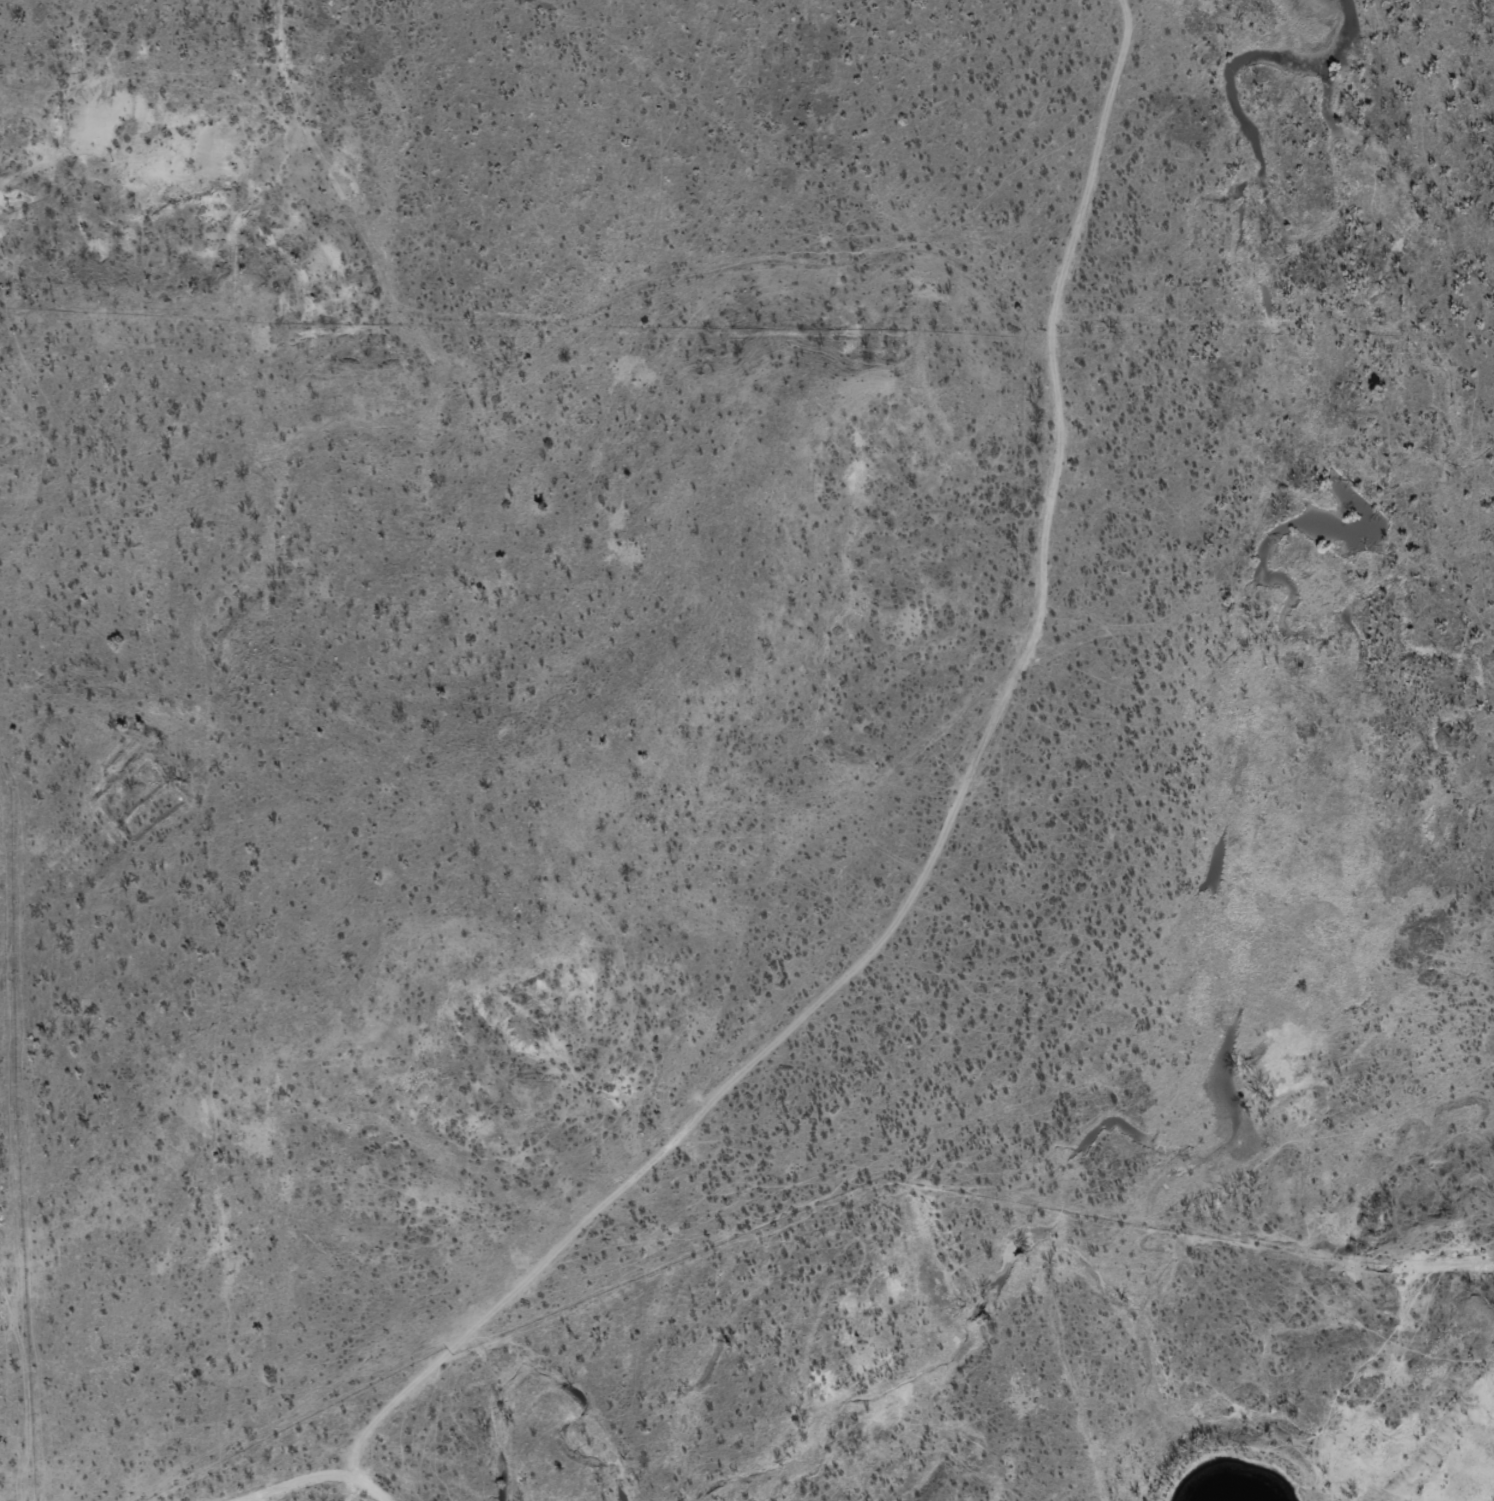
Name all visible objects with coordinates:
road: (955, 860)
road: (334, 1500)

